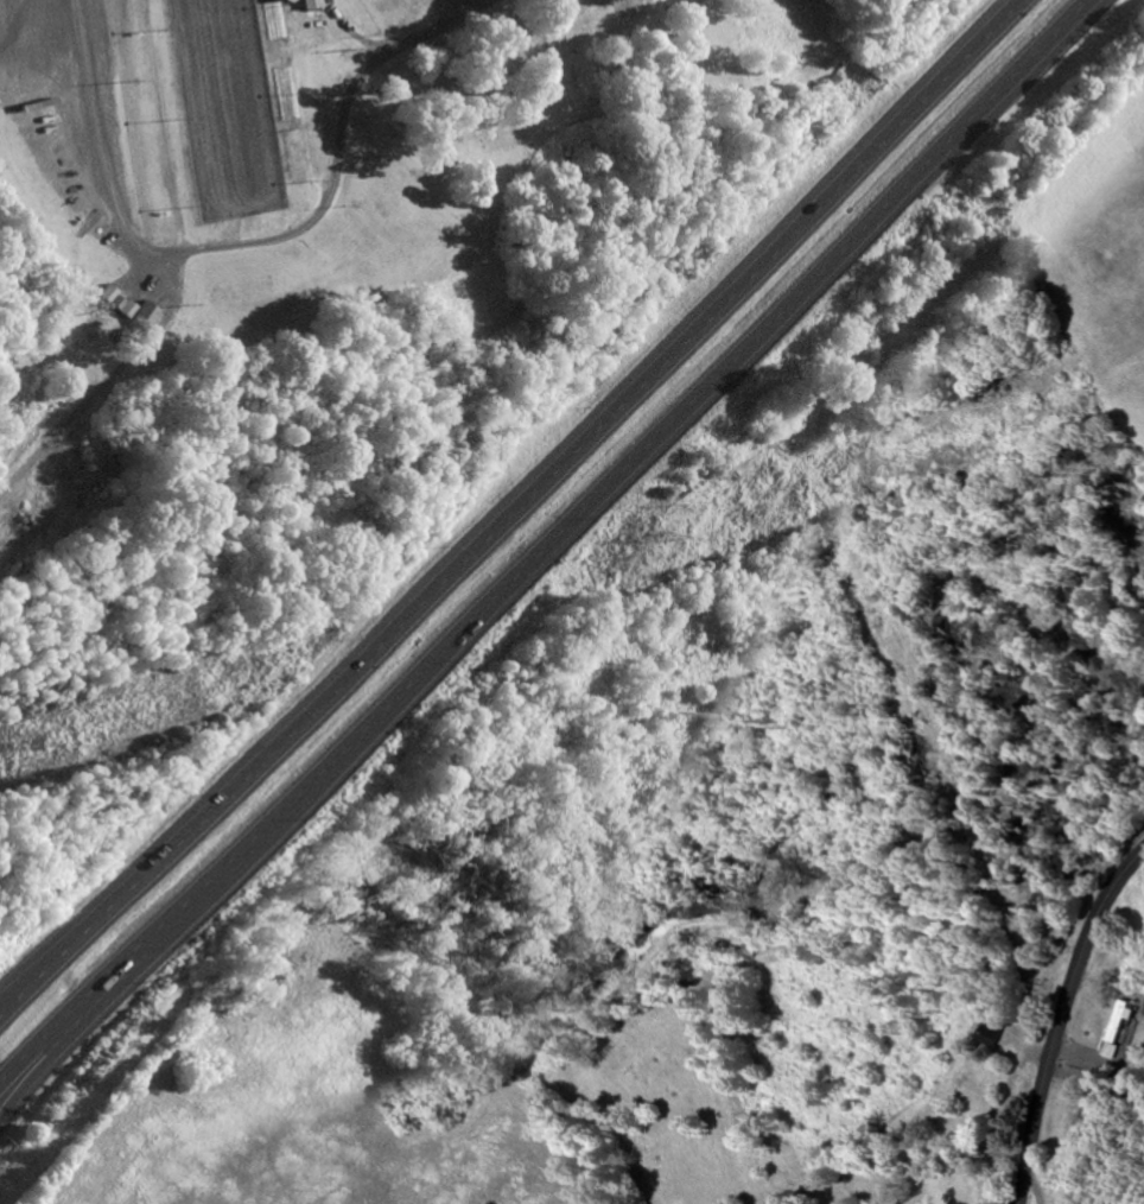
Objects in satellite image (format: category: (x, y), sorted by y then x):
building: (306, 5)
building: (268, 20)
road: (354, 33)
building: (279, 94)
parking lot: (74, 109)
building: (291, 165)
road: (246, 248)
road: (545, 477)
road: (585, 505)
road: (33, 980)
road: (33, 987)
building: (1143, 1014)
road: (1063, 1019)
building: (1120, 1031)
road: (39, 1051)
road: (39, 1069)
building: (1095, 1115)
building: (956, 1189)

